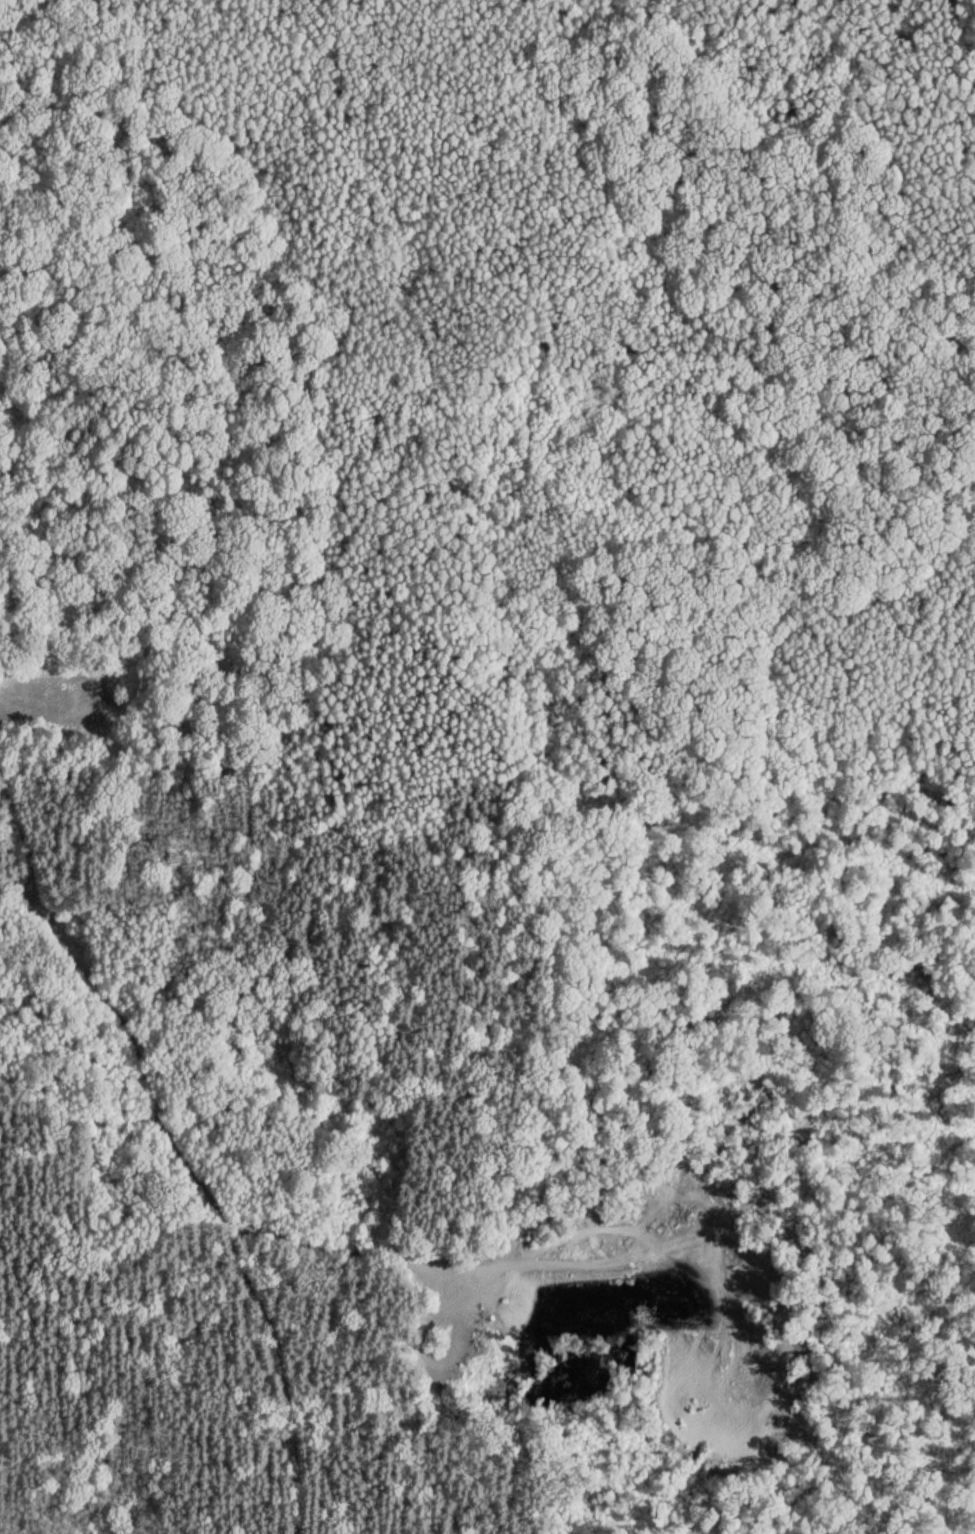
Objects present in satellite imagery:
road: (196, 556)
road: (19, 901)
road: (185, 1154)
quarry: (680, 1290)
road: (36, 1293)
road: (858, 1470)

